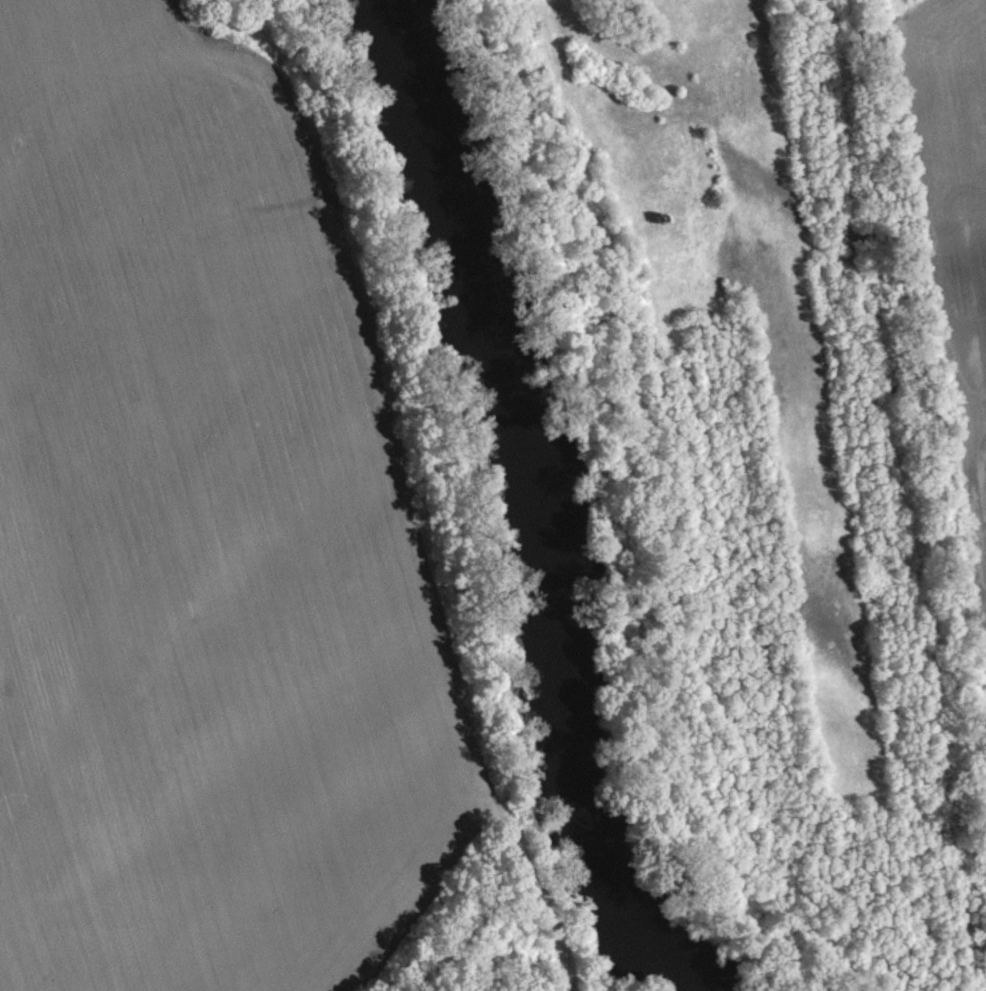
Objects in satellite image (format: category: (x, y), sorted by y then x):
river: (551, 506)
crop: (206, 532)
crop: (571, 986)

